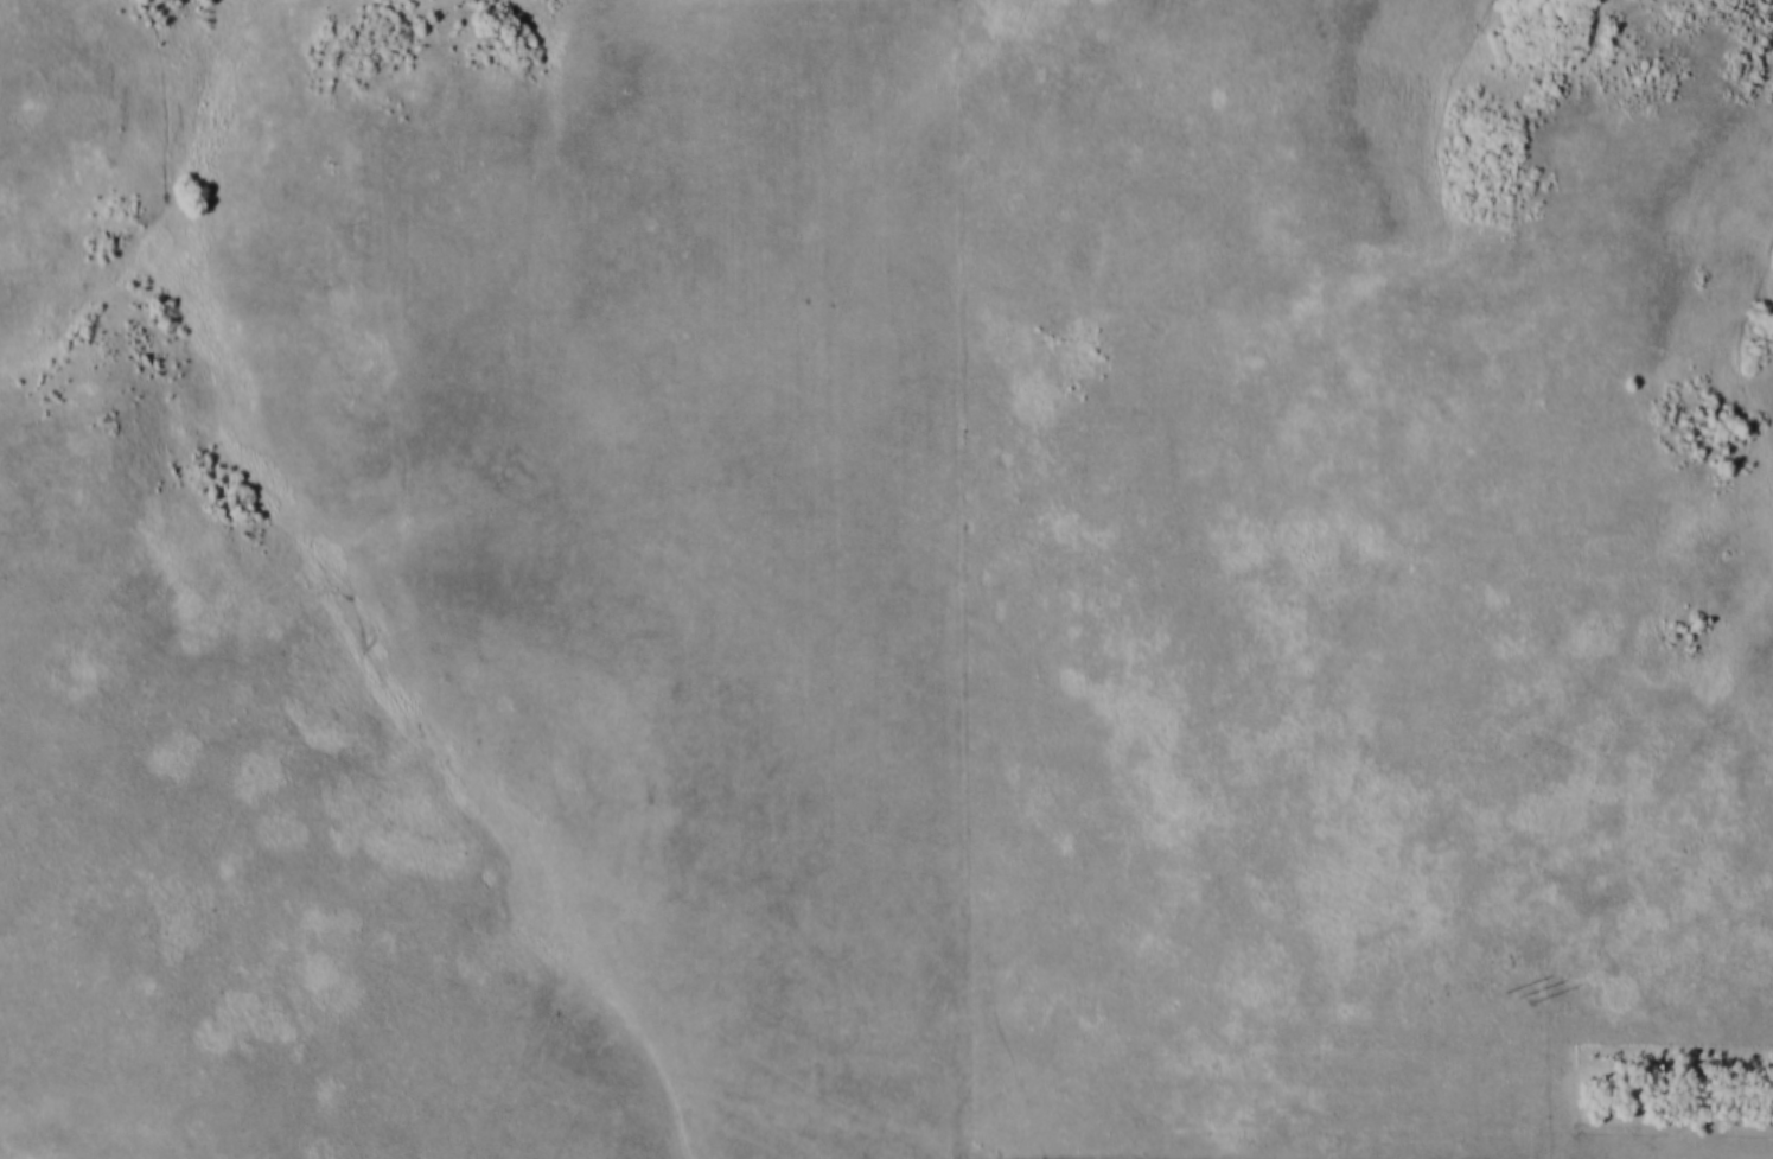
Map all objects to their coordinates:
power tower: (1526, 998)

